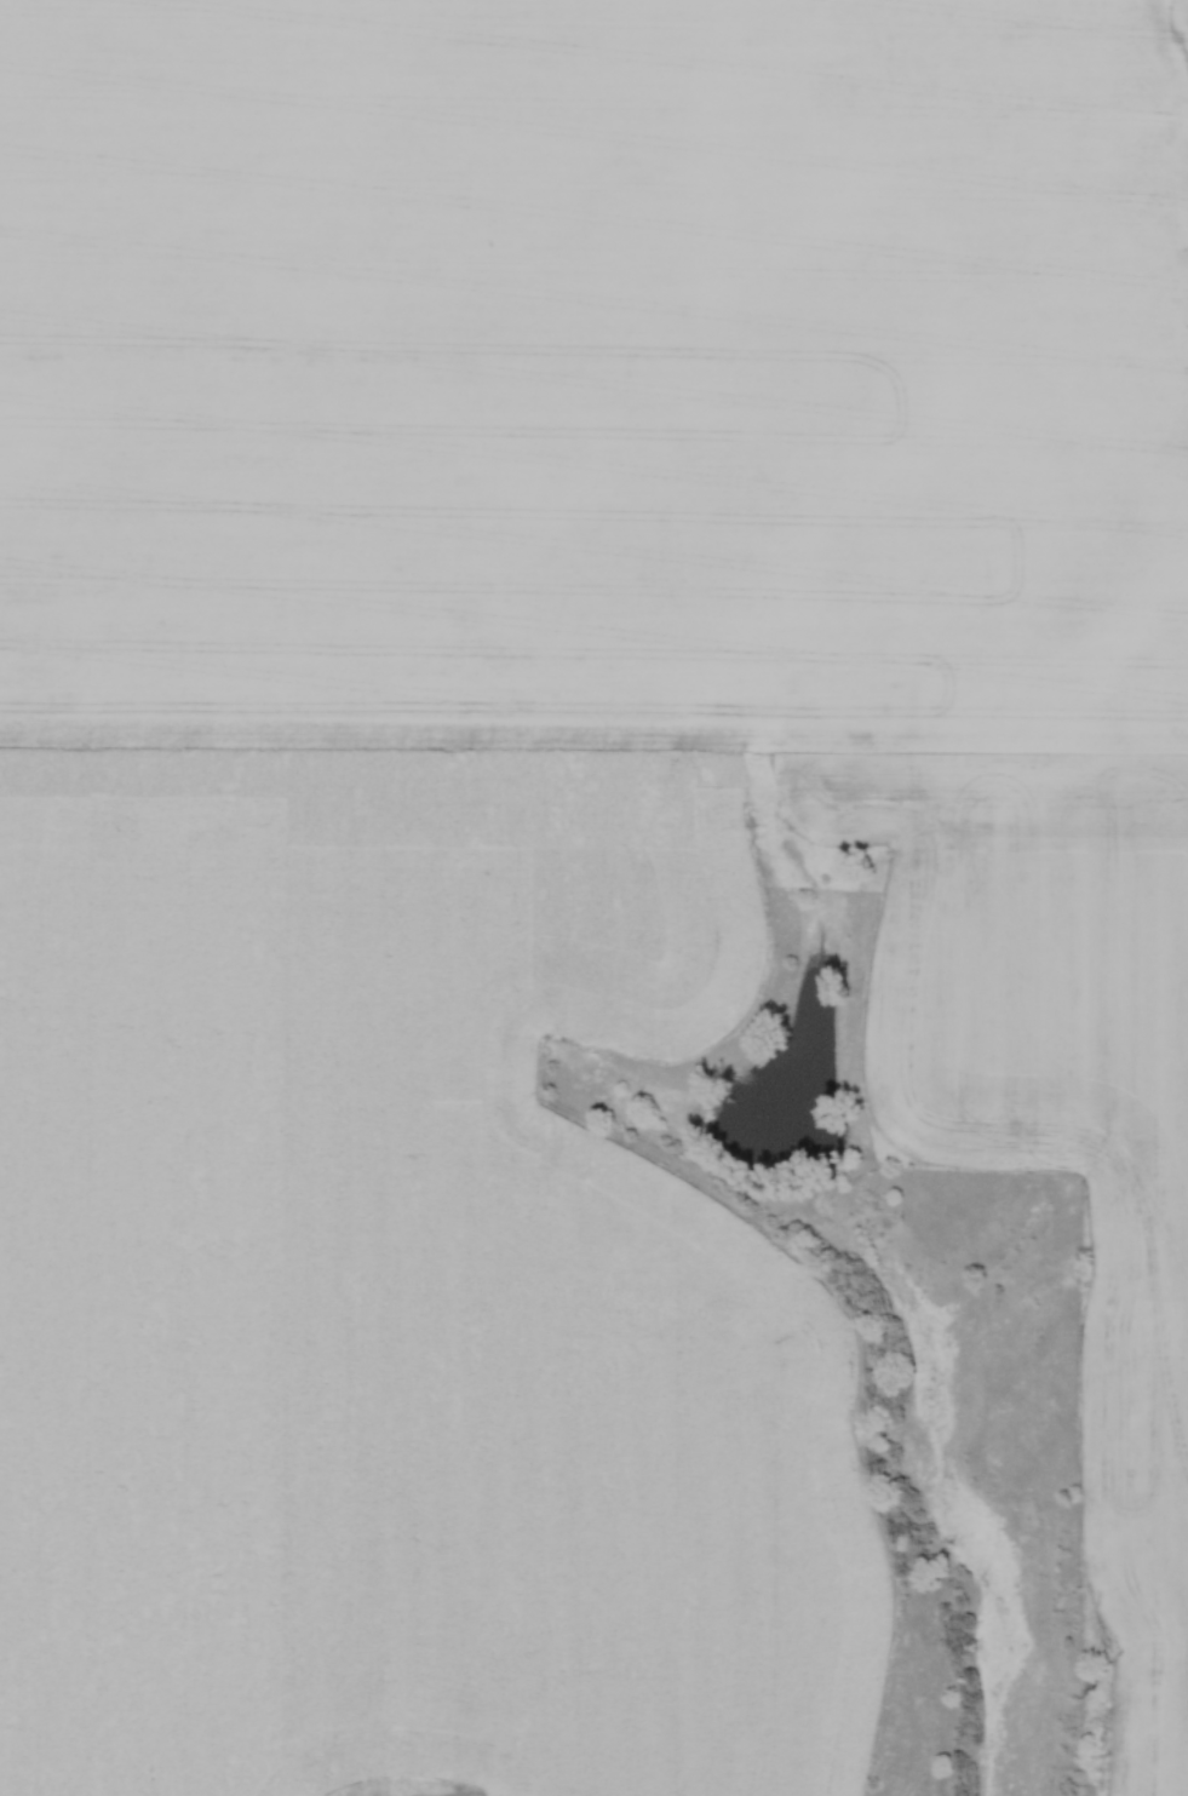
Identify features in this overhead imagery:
crop: (593, 373)

